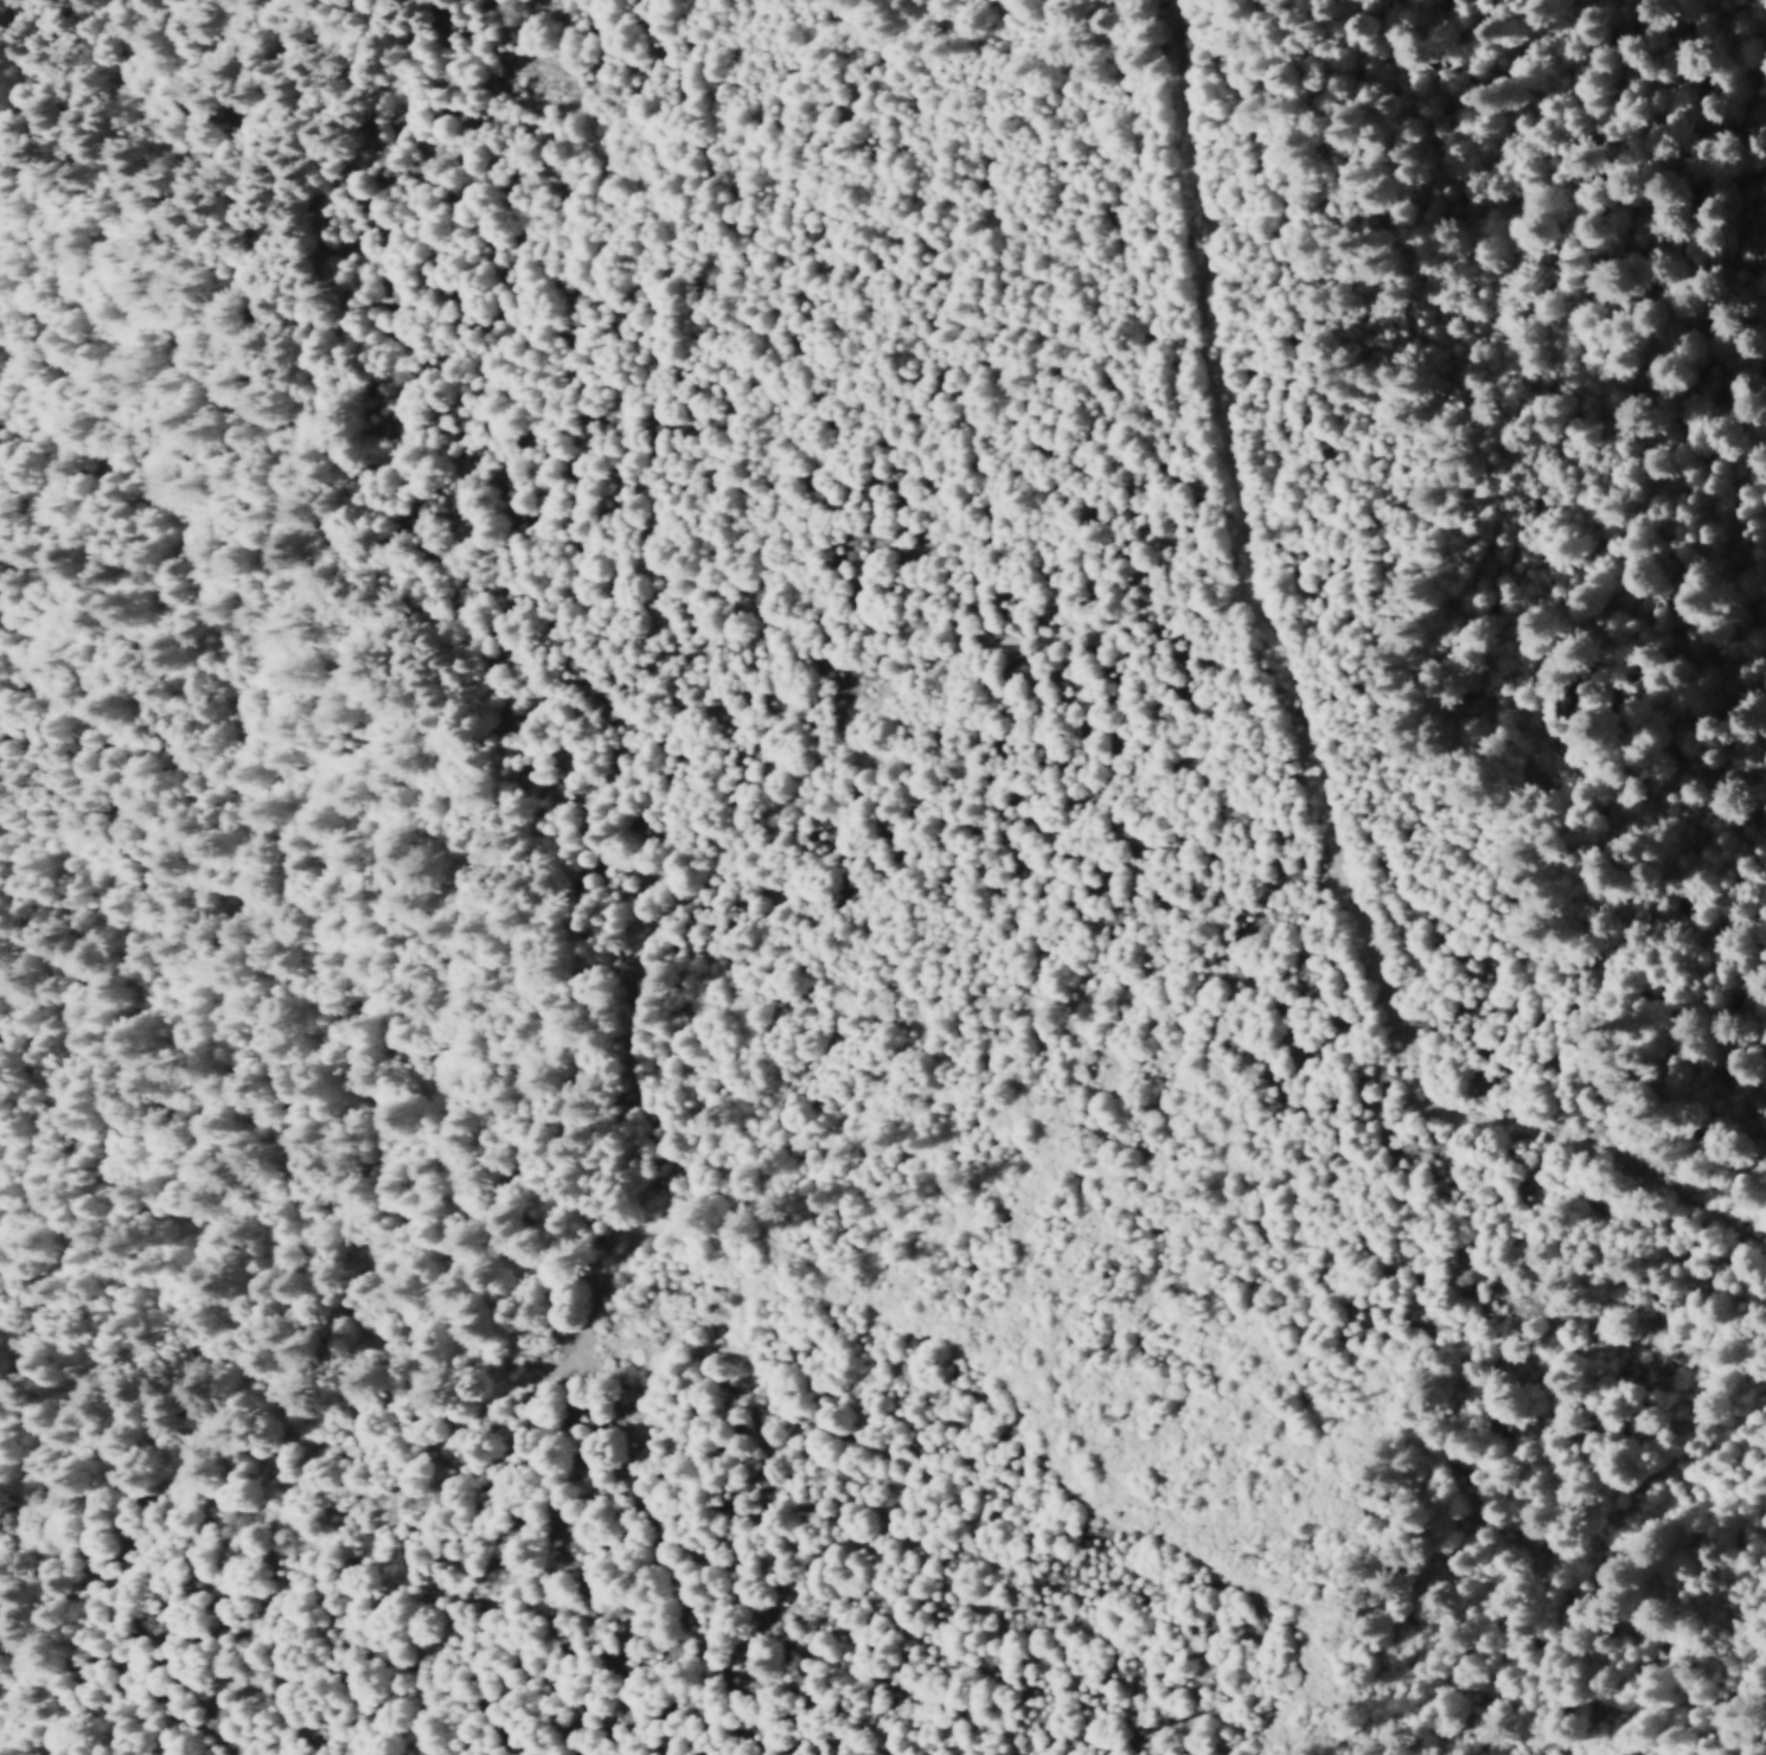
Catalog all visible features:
park: (1566, 482)
road: (1259, 571)
road: (659, 811)

